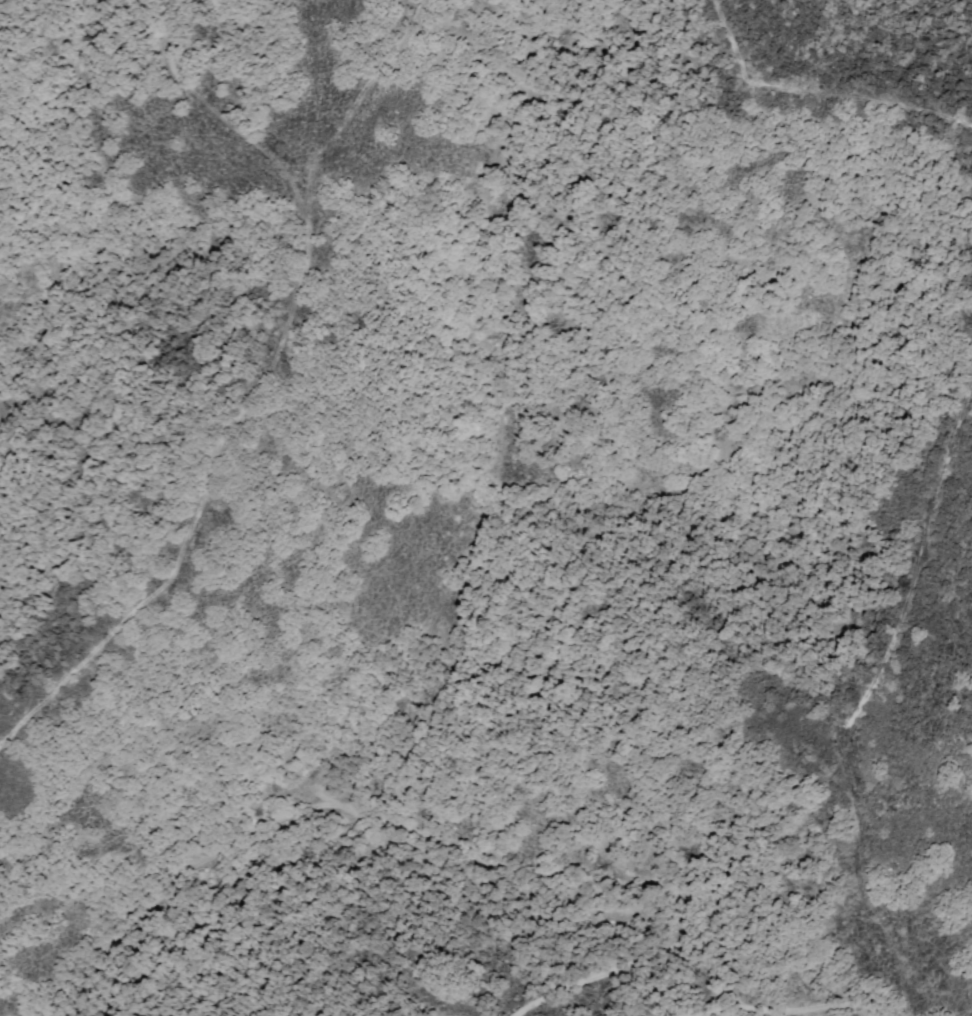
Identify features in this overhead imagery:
road: (815, 94)
road: (251, 393)
road: (866, 697)
road: (437, 846)
road: (800, 960)
road: (787, 1010)

